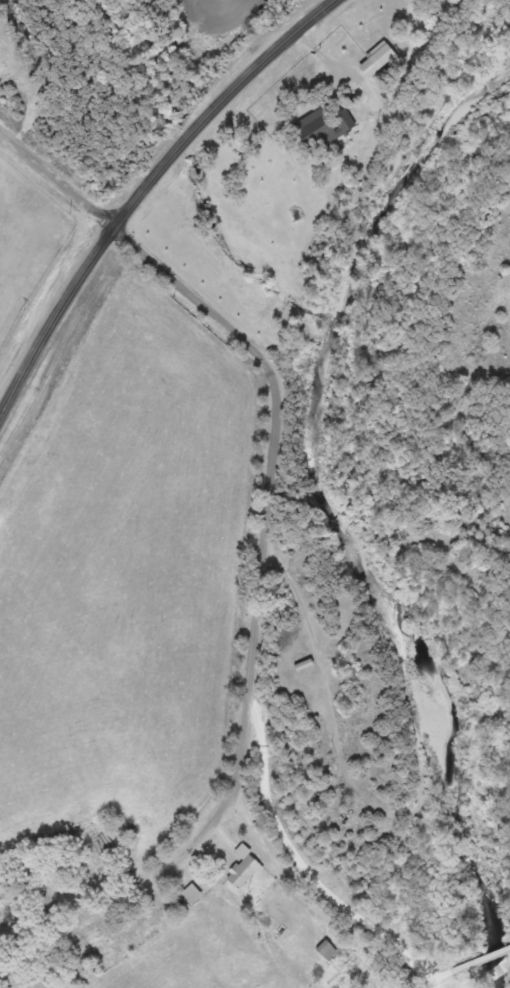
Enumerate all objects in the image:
building: (321, 129)
road: (57, 178)
road: (144, 189)
road: (271, 527)
building: (315, 692)
building: (244, 871)
road: (317, 909)
building: (327, 949)
road: (473, 965)

